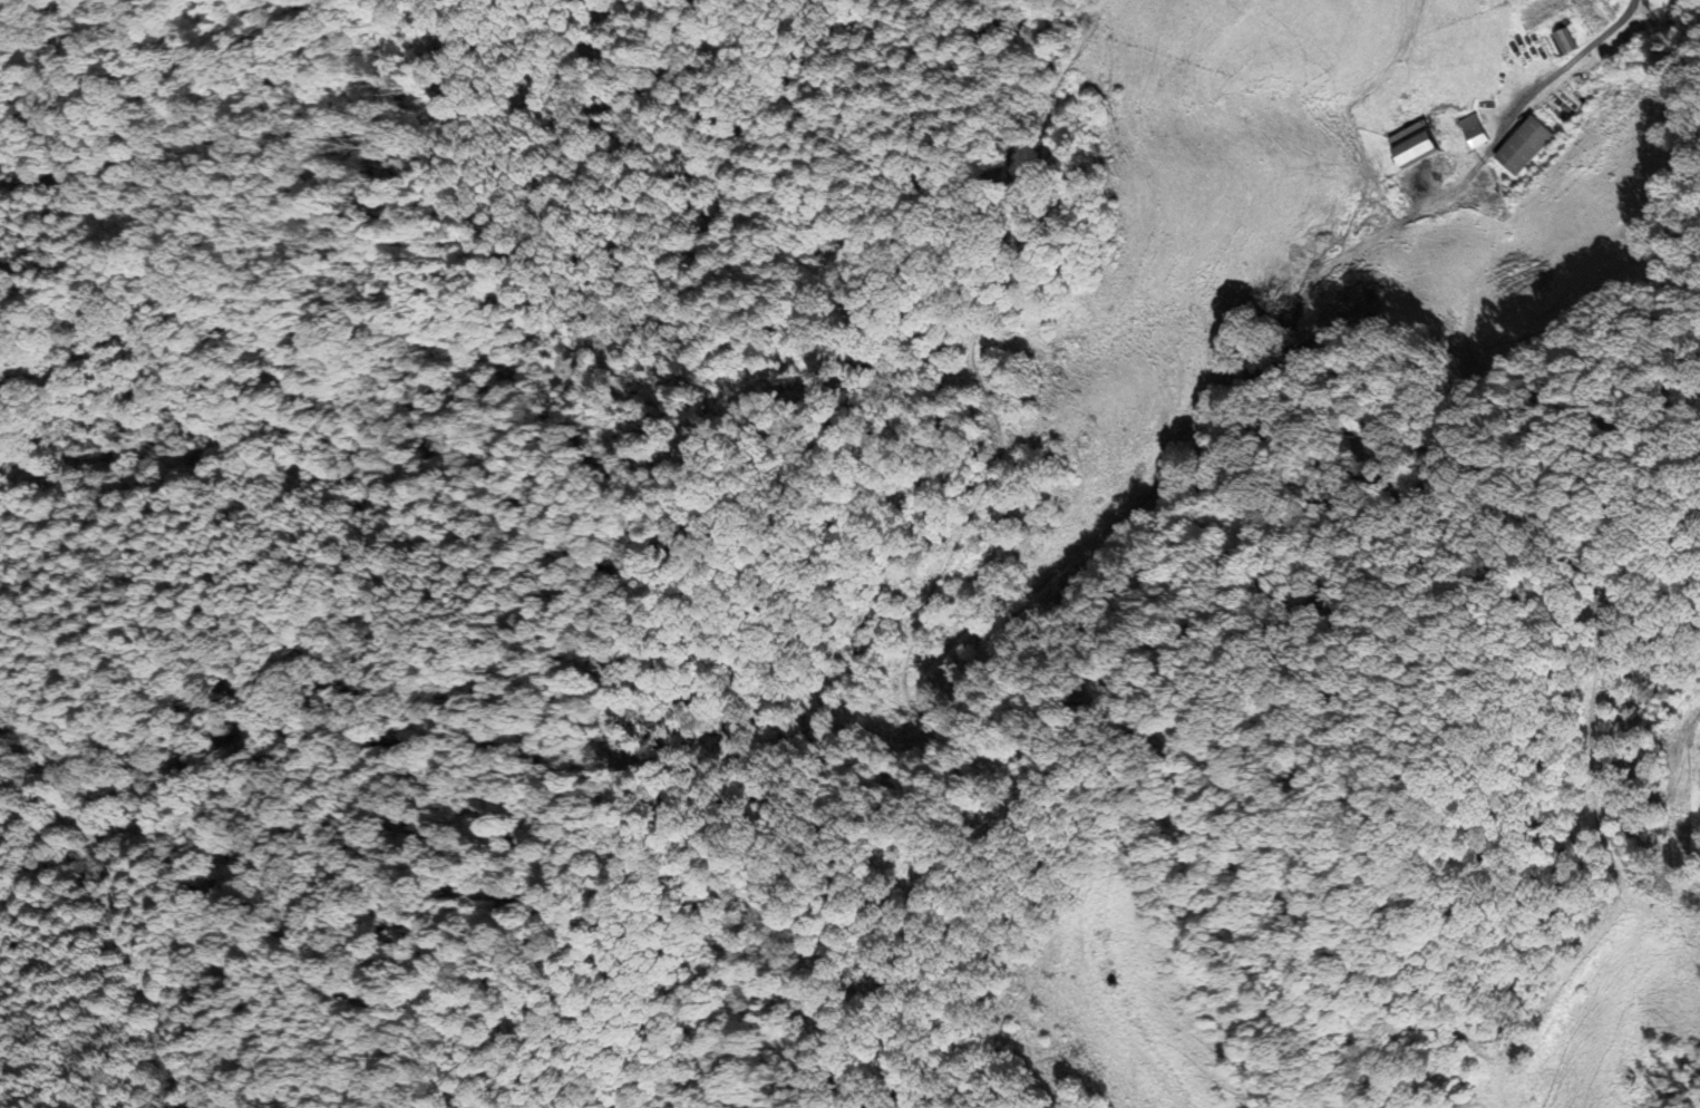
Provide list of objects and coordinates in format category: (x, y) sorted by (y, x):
building: (1572, 41)
road: (1591, 42)
building: (1483, 129)
building: (1431, 142)
building: (1526, 146)

